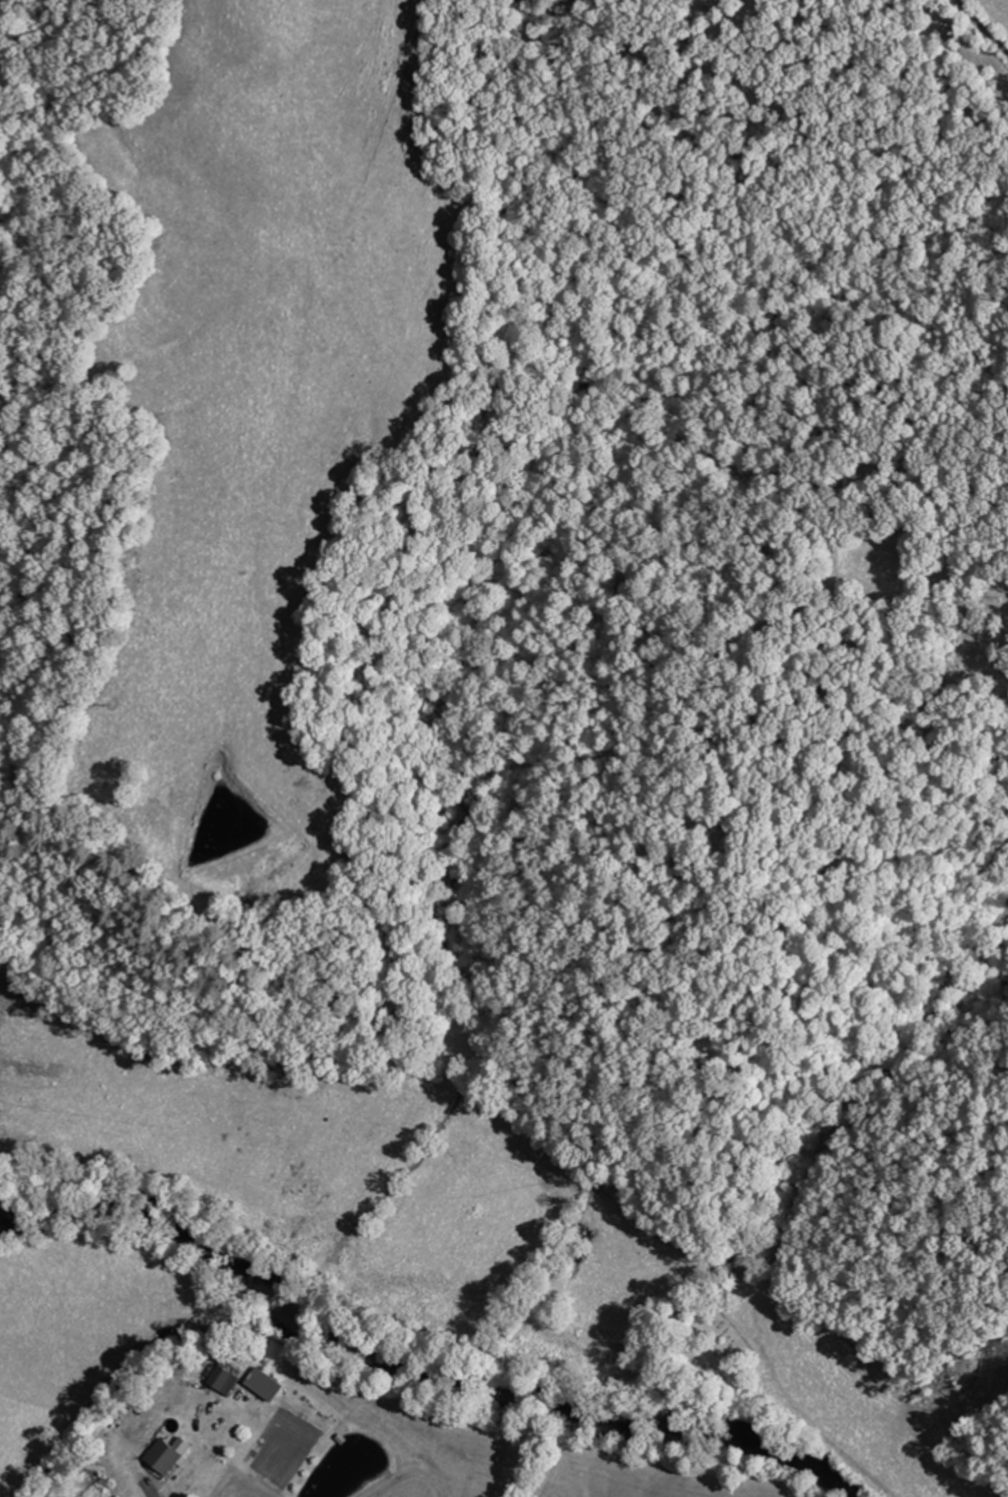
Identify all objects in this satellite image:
road: (981, 27)
road: (887, 1080)
park: (711, 1348)
river: (416, 1367)
building: (225, 1378)
road: (810, 1426)
building: (167, 1457)

